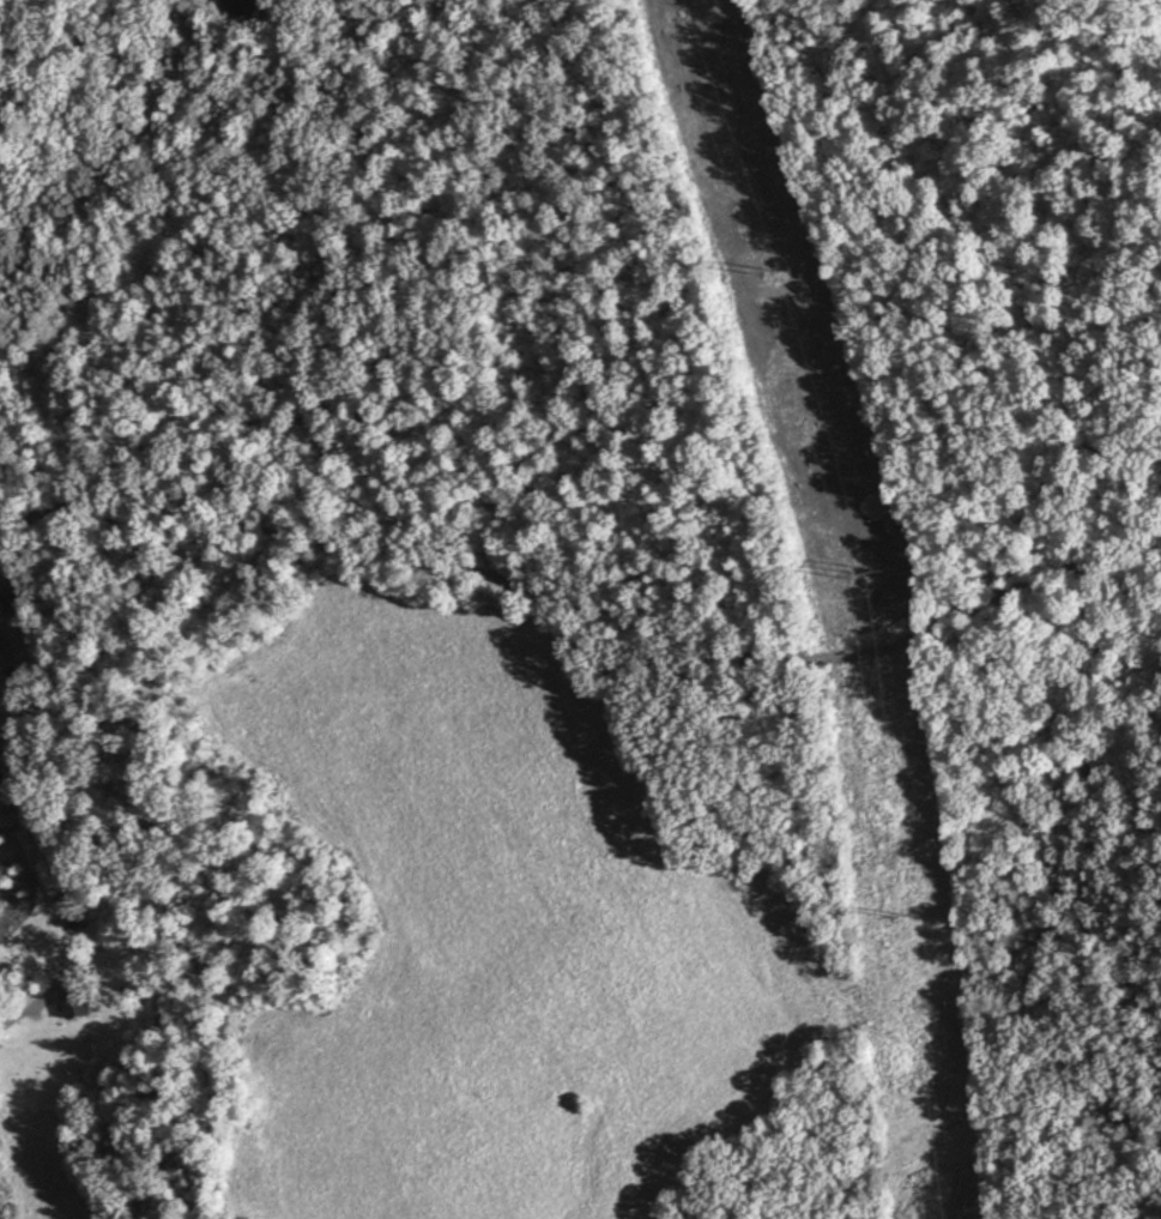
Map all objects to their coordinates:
power tower: (769, 266)
power tower: (866, 568)
road: (587, 604)
power tower: (900, 913)
building: (78, 1000)

